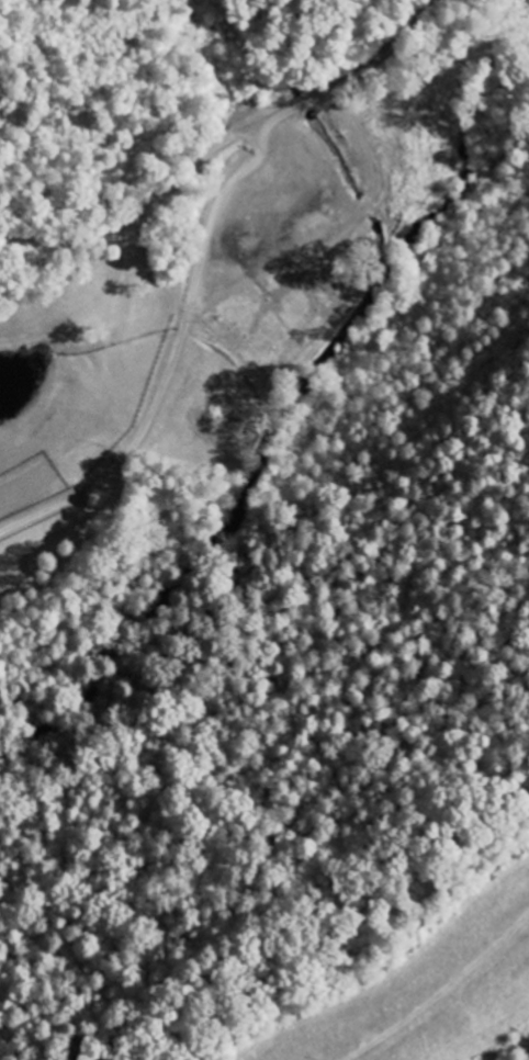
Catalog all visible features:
road: (352, 74)
road: (138, 211)
road: (170, 362)
park: (273, 606)

